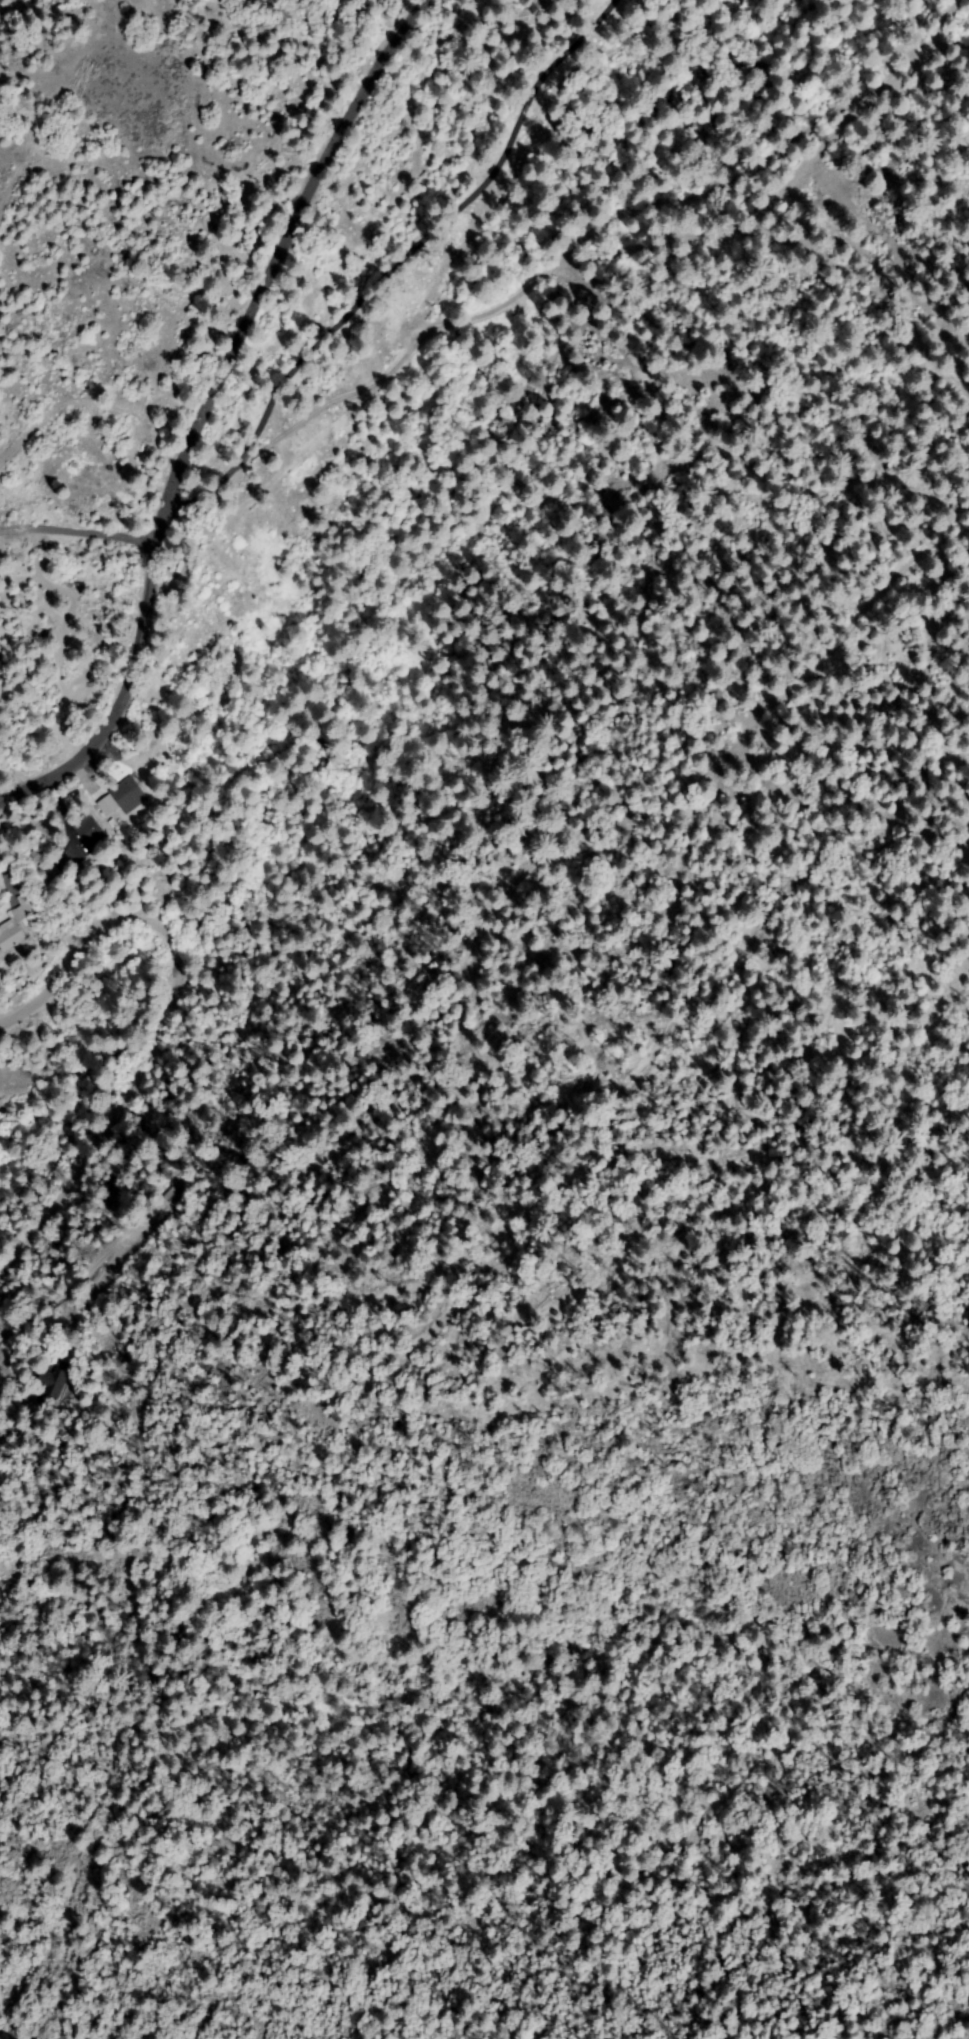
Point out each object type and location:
road: (209, 410)
building: (126, 794)
building: (91, 834)
building: (46, 867)
building: (78, 885)
building: (28, 900)
building: (13, 931)
road: (166, 1033)
road: (483, 1121)
road: (58, 1153)
building: (173, 1197)
building: (52, 1382)

